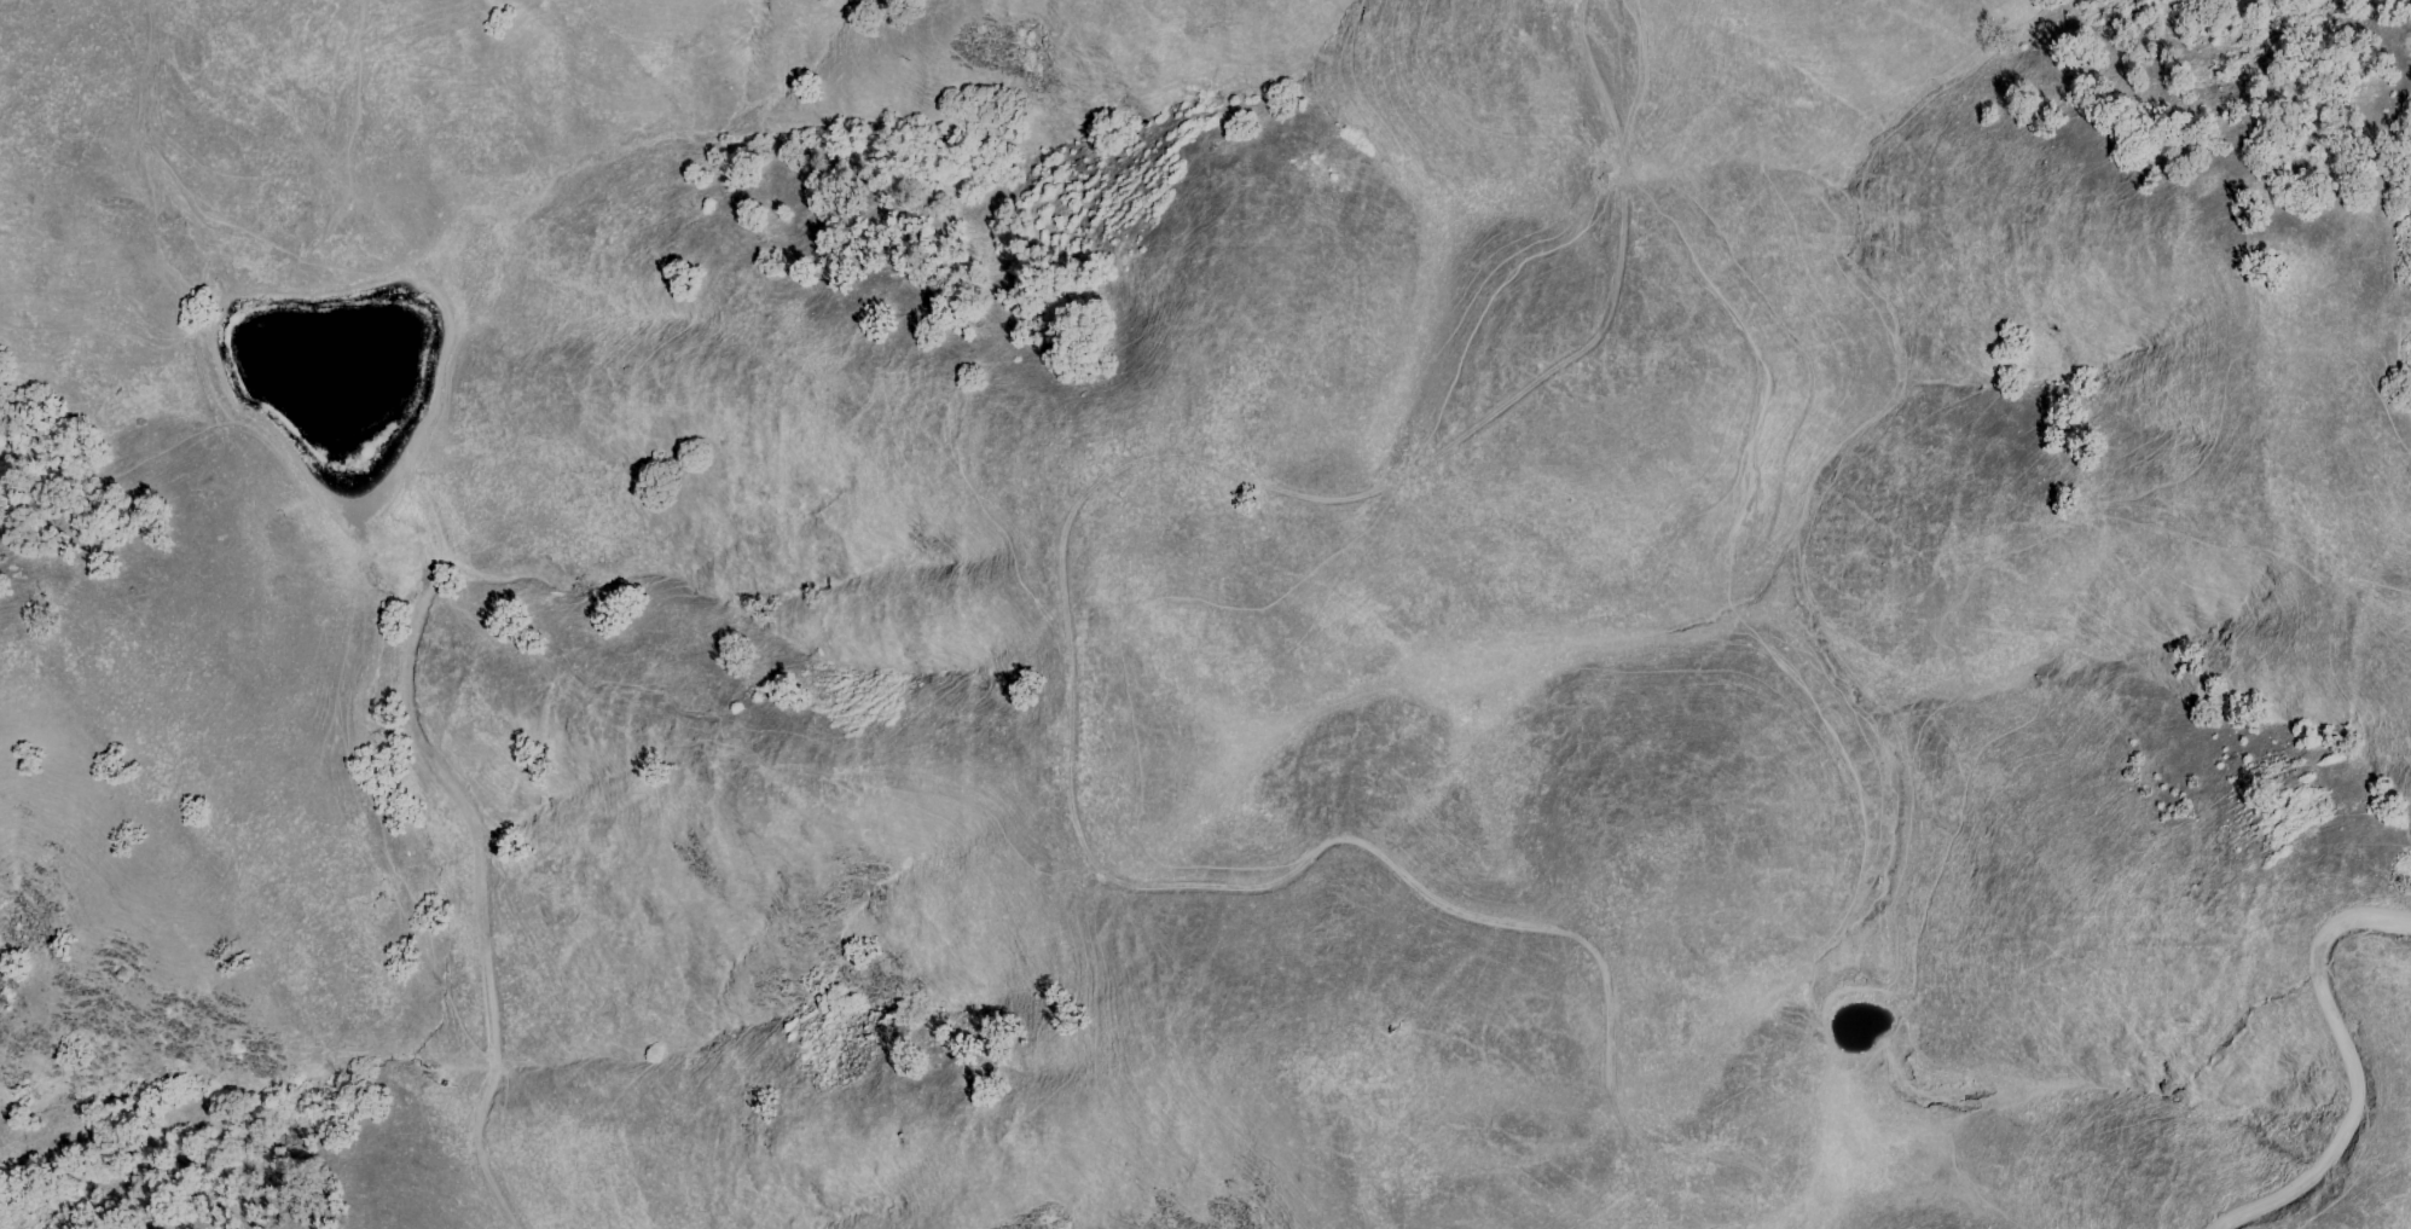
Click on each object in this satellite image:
road: (2358, 1074)

